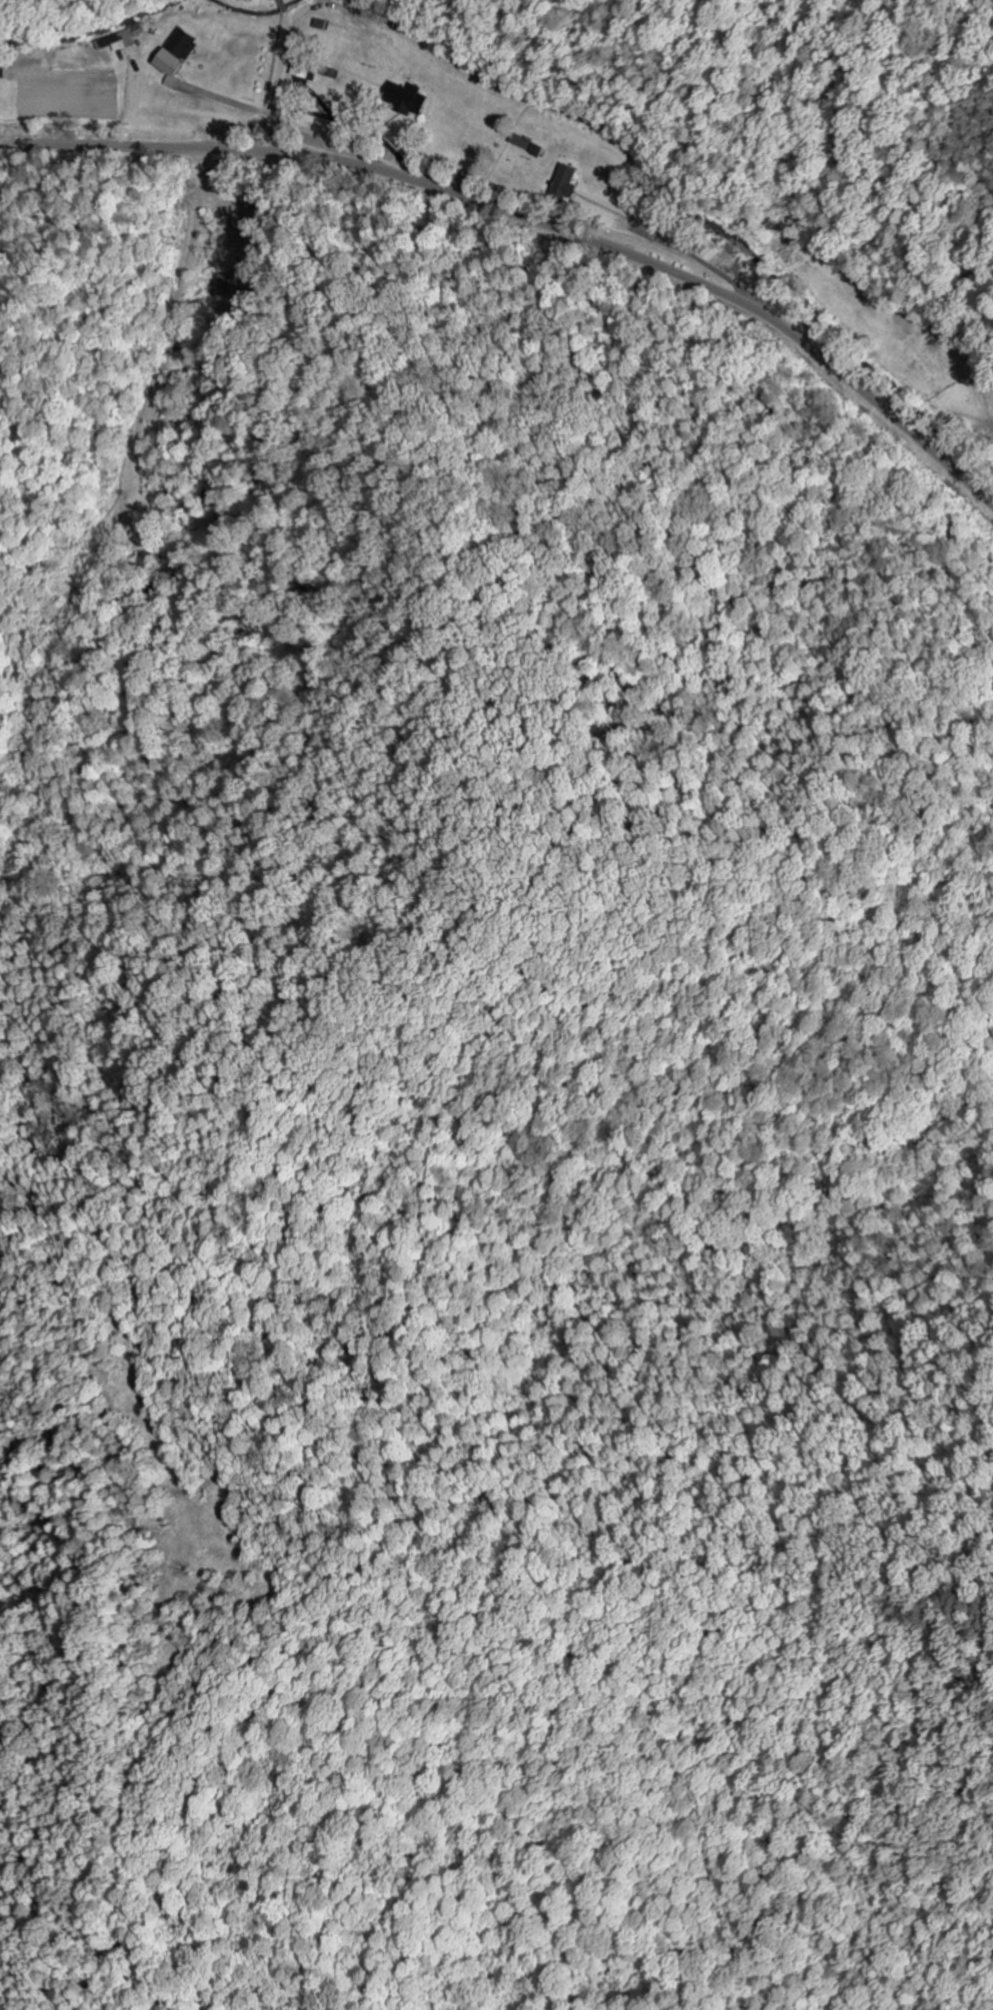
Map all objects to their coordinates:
building: (122, 39)
building: (178, 52)
building: (301, 68)
building: (407, 98)
building: (527, 145)
building: (565, 183)
road: (536, 222)

